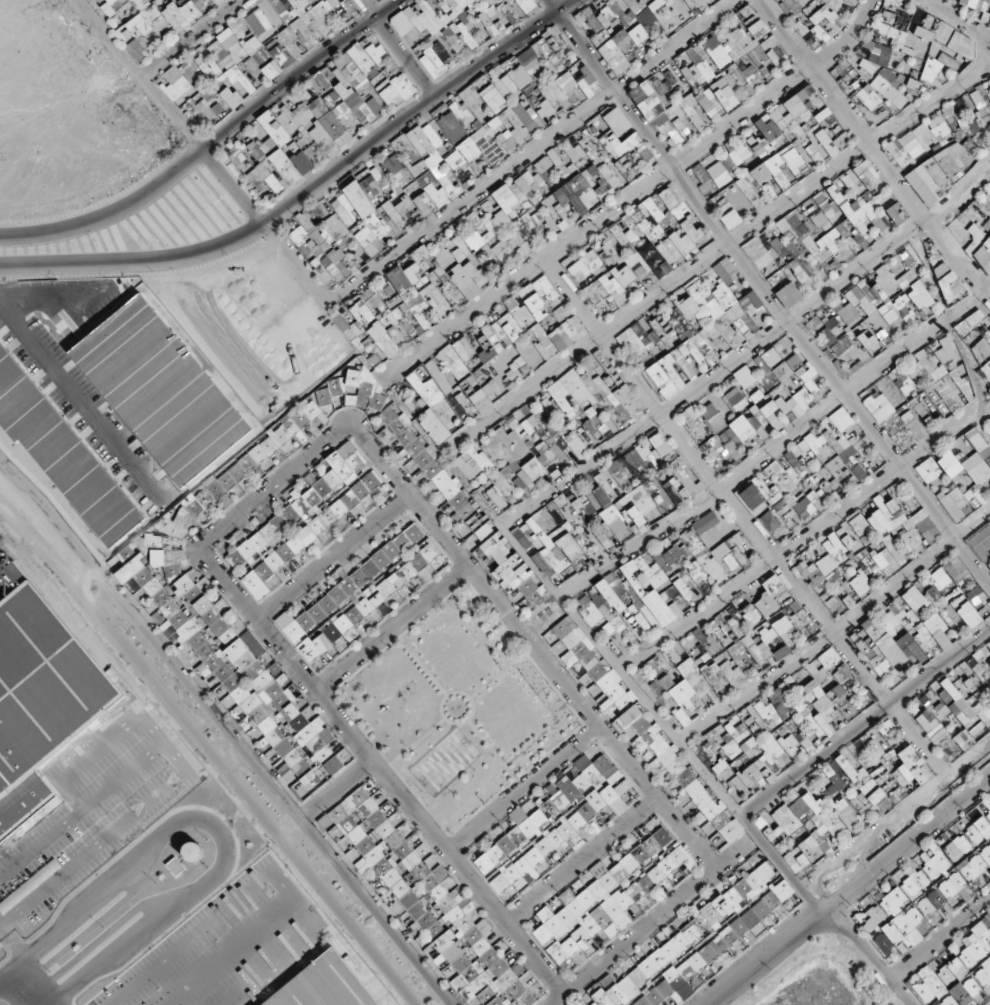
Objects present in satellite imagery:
park: (457, 709)
park: (447, 763)

